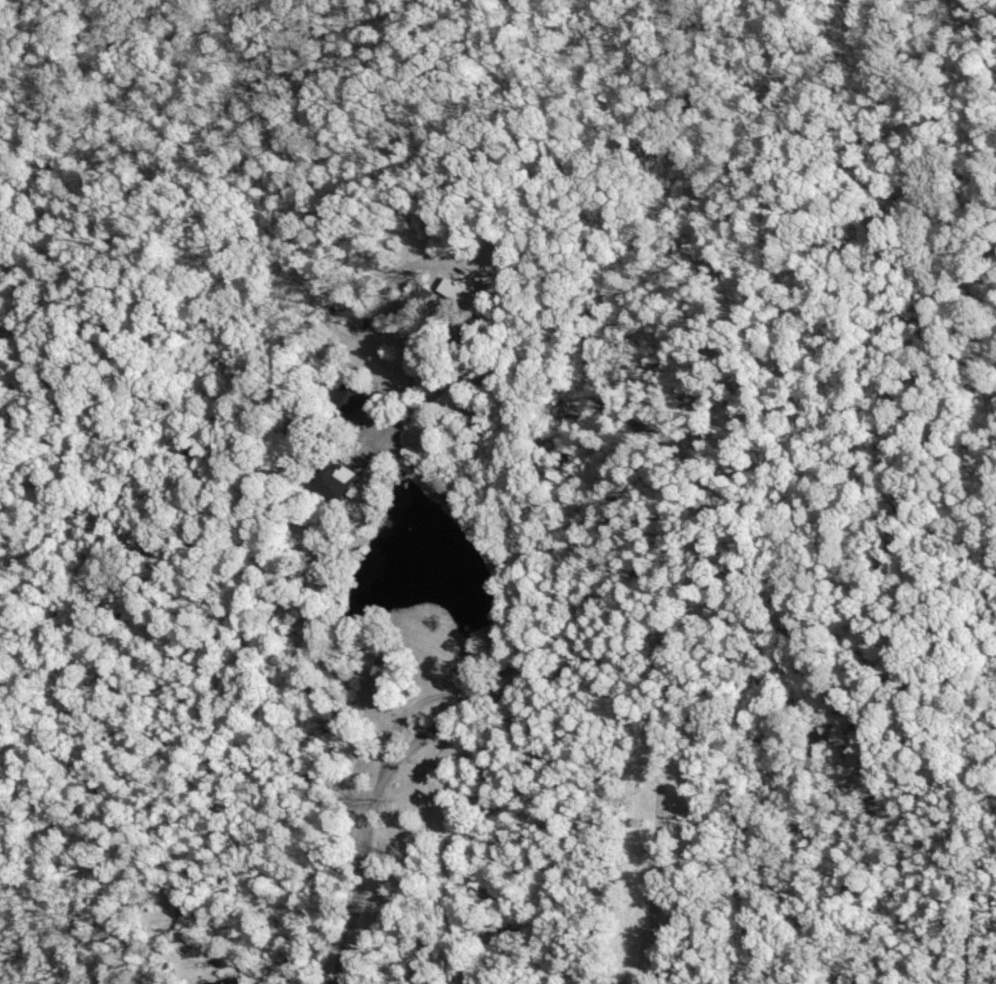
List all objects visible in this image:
building: (468, 293)
building: (335, 478)
road: (516, 690)
building: (238, 981)

